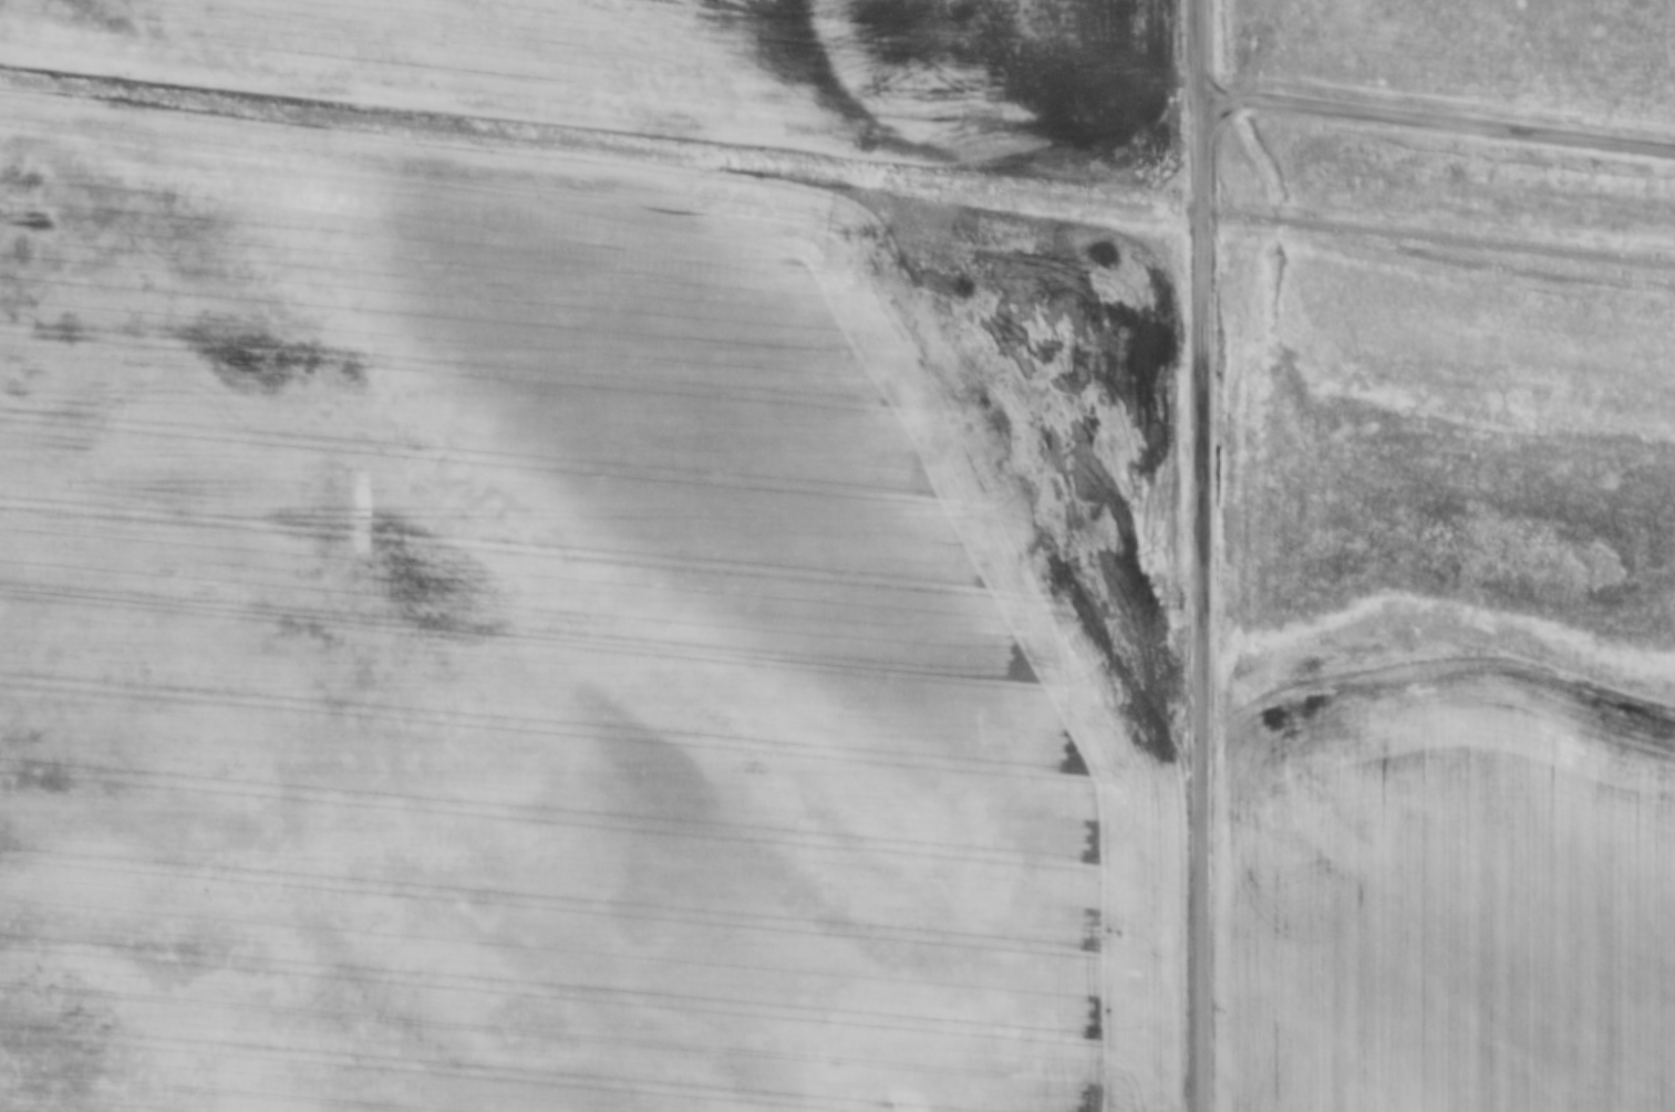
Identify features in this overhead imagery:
road: (1437, 114)
road: (1202, 555)

